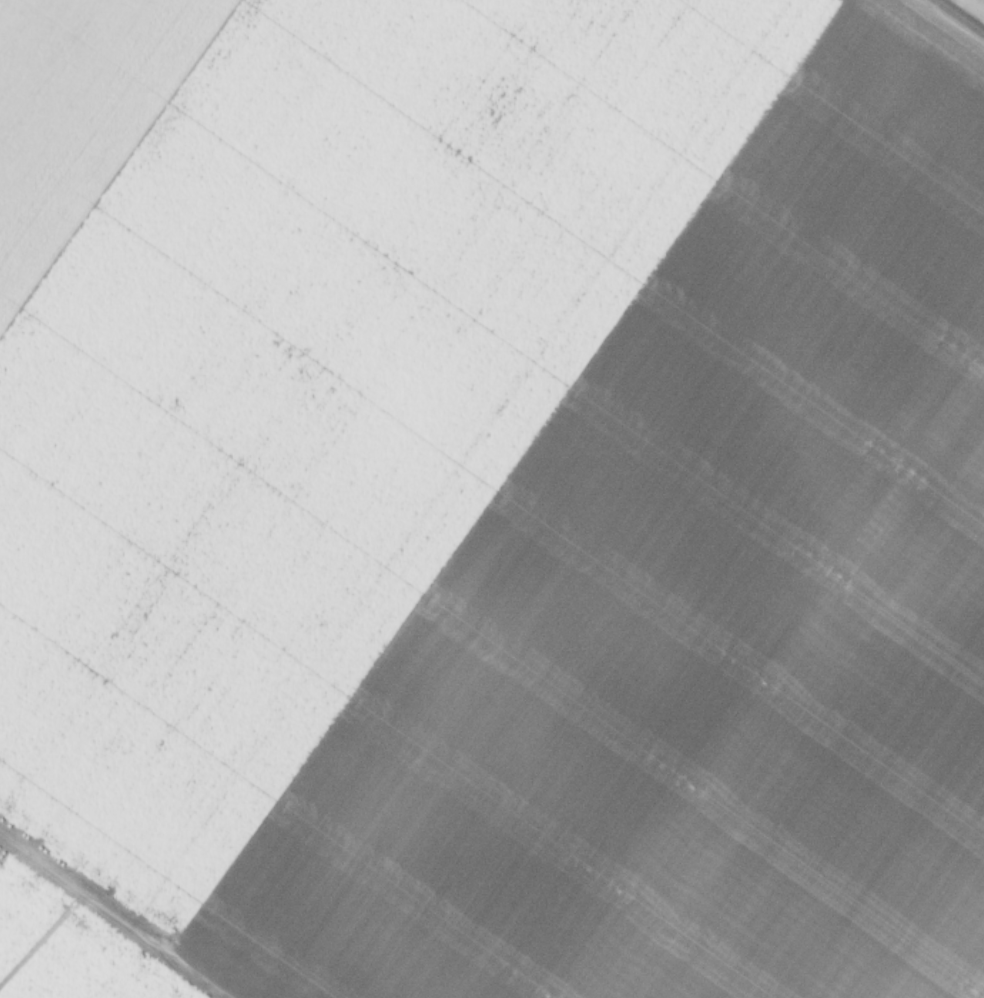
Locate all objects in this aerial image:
road: (958, 18)
crop: (491, 499)

